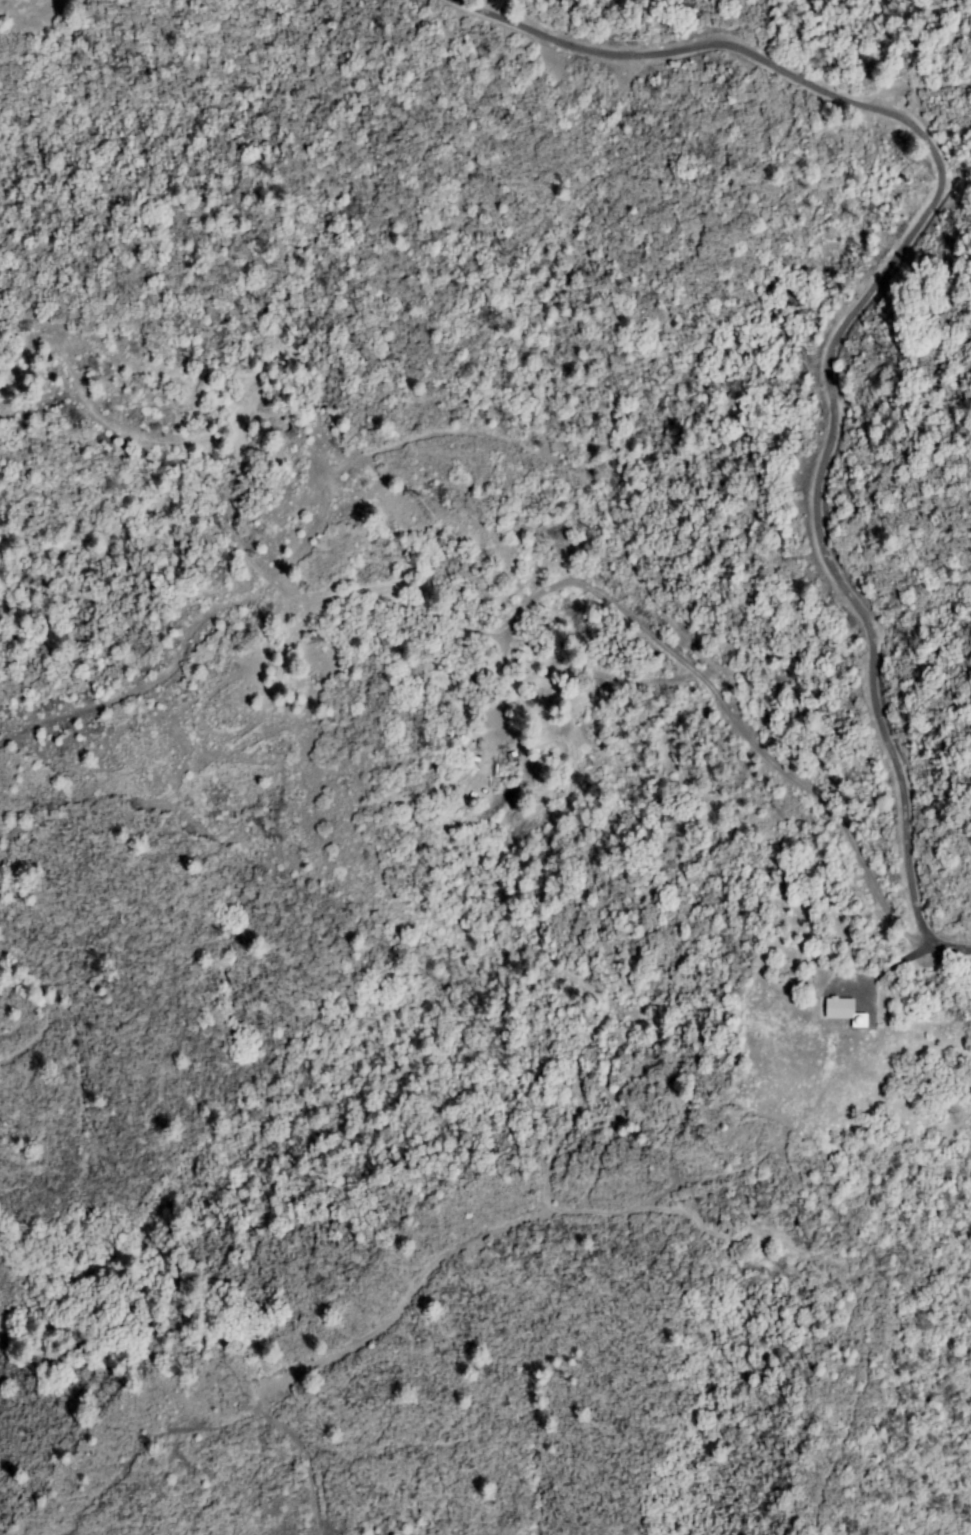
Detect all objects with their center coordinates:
road: (879, 286)
road: (518, 438)
building: (519, 799)
road: (943, 936)
building: (839, 1009)
building: (860, 1021)

